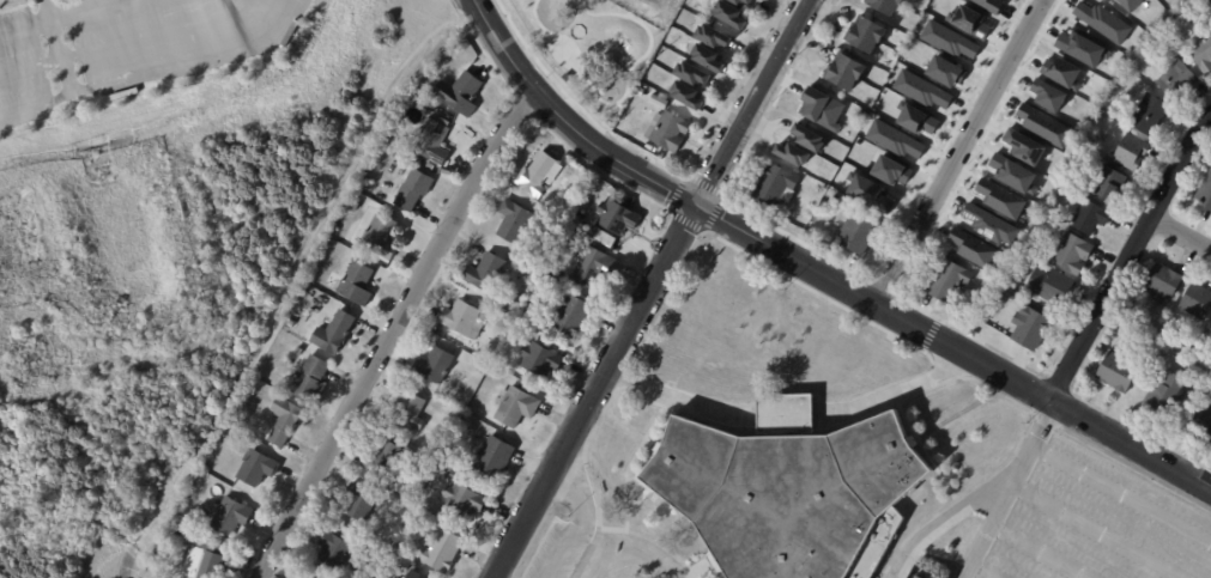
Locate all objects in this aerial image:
building: (743, 1)
building: (1131, 4)
building: (989, 5)
building: (888, 6)
building: (733, 14)
road: (62, 18)
building: (968, 22)
building: (1102, 22)
building: (714, 36)
building: (868, 36)
building: (947, 39)
road: (126, 43)
road: (61, 48)
building: (1082, 48)
road: (483, 49)
building: (1204, 53)
road: (757, 54)
building: (709, 57)
building: (945, 71)
road: (158, 72)
building: (848, 72)
building: (1061, 72)
building: (694, 74)
building: (1179, 79)
building: (920, 90)
building: (461, 93)
building: (689, 95)
building: (1047, 95)
building: (660, 102)
road: (750, 102)
road: (574, 104)
road: (523, 108)
building: (821, 108)
road: (963, 111)
building: (1150, 115)
building: (915, 118)
road: (564, 121)
building: (1043, 126)
building: (393, 130)
building: (671, 132)
building: (811, 136)
building: (430, 140)
building: (894, 140)
building: (1023, 146)
road: (957, 151)
building: (1133, 151)
building: (794, 153)
building: (423, 160)
road: (595, 169)
building: (890, 170)
road: (733, 172)
building: (539, 174)
building: (1012, 174)
road: (684, 176)
building: (777, 183)
building: (1112, 183)
building: (414, 189)
building: (868, 193)
building: (1205, 193)
building: (999, 199)
building: (832, 200)
building: (353, 206)
building: (618, 217)
building: (1094, 218)
road: (937, 220)
building: (516, 221)
building: (988, 224)
building: (860, 231)
road: (1180, 233)
building: (381, 236)
building: (604, 237)
building: (973, 248)
road: (739, 249)
building: (1074, 253)
road: (1127, 255)
building: (593, 267)
building: (488, 272)
building: (949, 280)
building: (553, 281)
building: (1165, 281)
building: (358, 284)
building: (1050, 285)
road: (884, 288)
building: (1198, 300)
building: (533, 315)
building: (569, 316)
building: (464, 318)
building: (290, 325)
building: (505, 325)
building: (1033, 328)
road: (390, 330)
building: (1210, 331)
building: (334, 333)
road: (928, 334)
building: (974, 334)
building: (1154, 341)
road: (952, 346)
building: (1169, 349)
building: (299, 351)
building: (541, 359)
building: (436, 365)
road: (946, 370)
building: (1120, 371)
building: (311, 378)
road: (624, 381)
road: (593, 390)
road: (1035, 391)
building: (1169, 393)
building: (516, 407)
building: (410, 410)
road: (789, 414)
road: (952, 416)
building: (286, 420)
building: (1203, 421)
road: (1042, 422)
road: (842, 426)
road: (630, 432)
road: (786, 433)
road: (926, 451)
building: (496, 456)
building: (386, 458)
road: (629, 464)
road: (1133, 467)
building: (258, 468)
building: (423, 477)
building: (204, 485)
road: (1009, 489)
road: (1121, 494)
building: (791, 495)
road: (640, 497)
building: (464, 500)
building: (361, 501)
building: (231, 516)
road: (577, 518)
road: (943, 519)
parking lot: (1096, 525)
road: (1096, 531)
road: (985, 536)
road: (652, 540)
building: (442, 550)
building: (335, 552)
road: (1037, 552)
building: (714, 562)
building: (207, 565)
building: (369, 566)
road: (706, 566)
road: (981, 571)
building: (414, 574)

